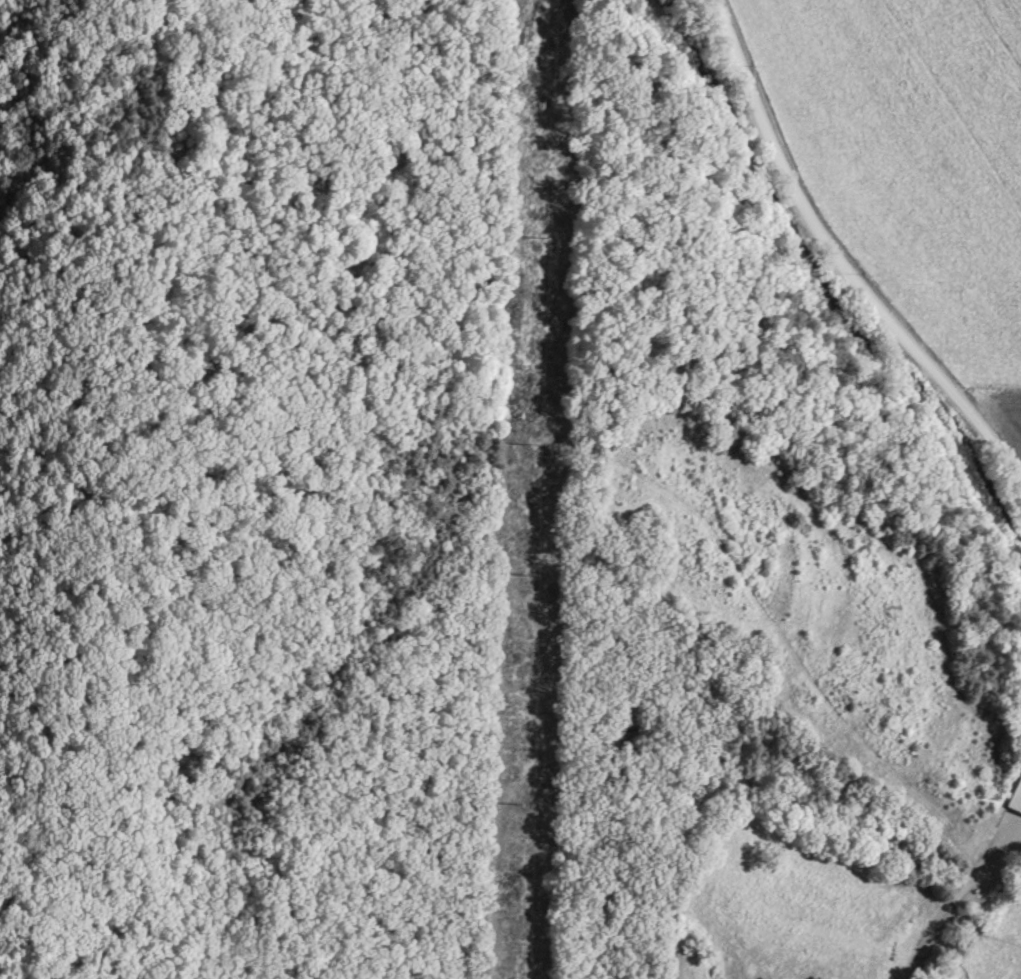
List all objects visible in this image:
power tower: (534, 234)
road: (839, 262)
power tower: (525, 574)
building: (1016, 800)
power tower: (515, 802)

